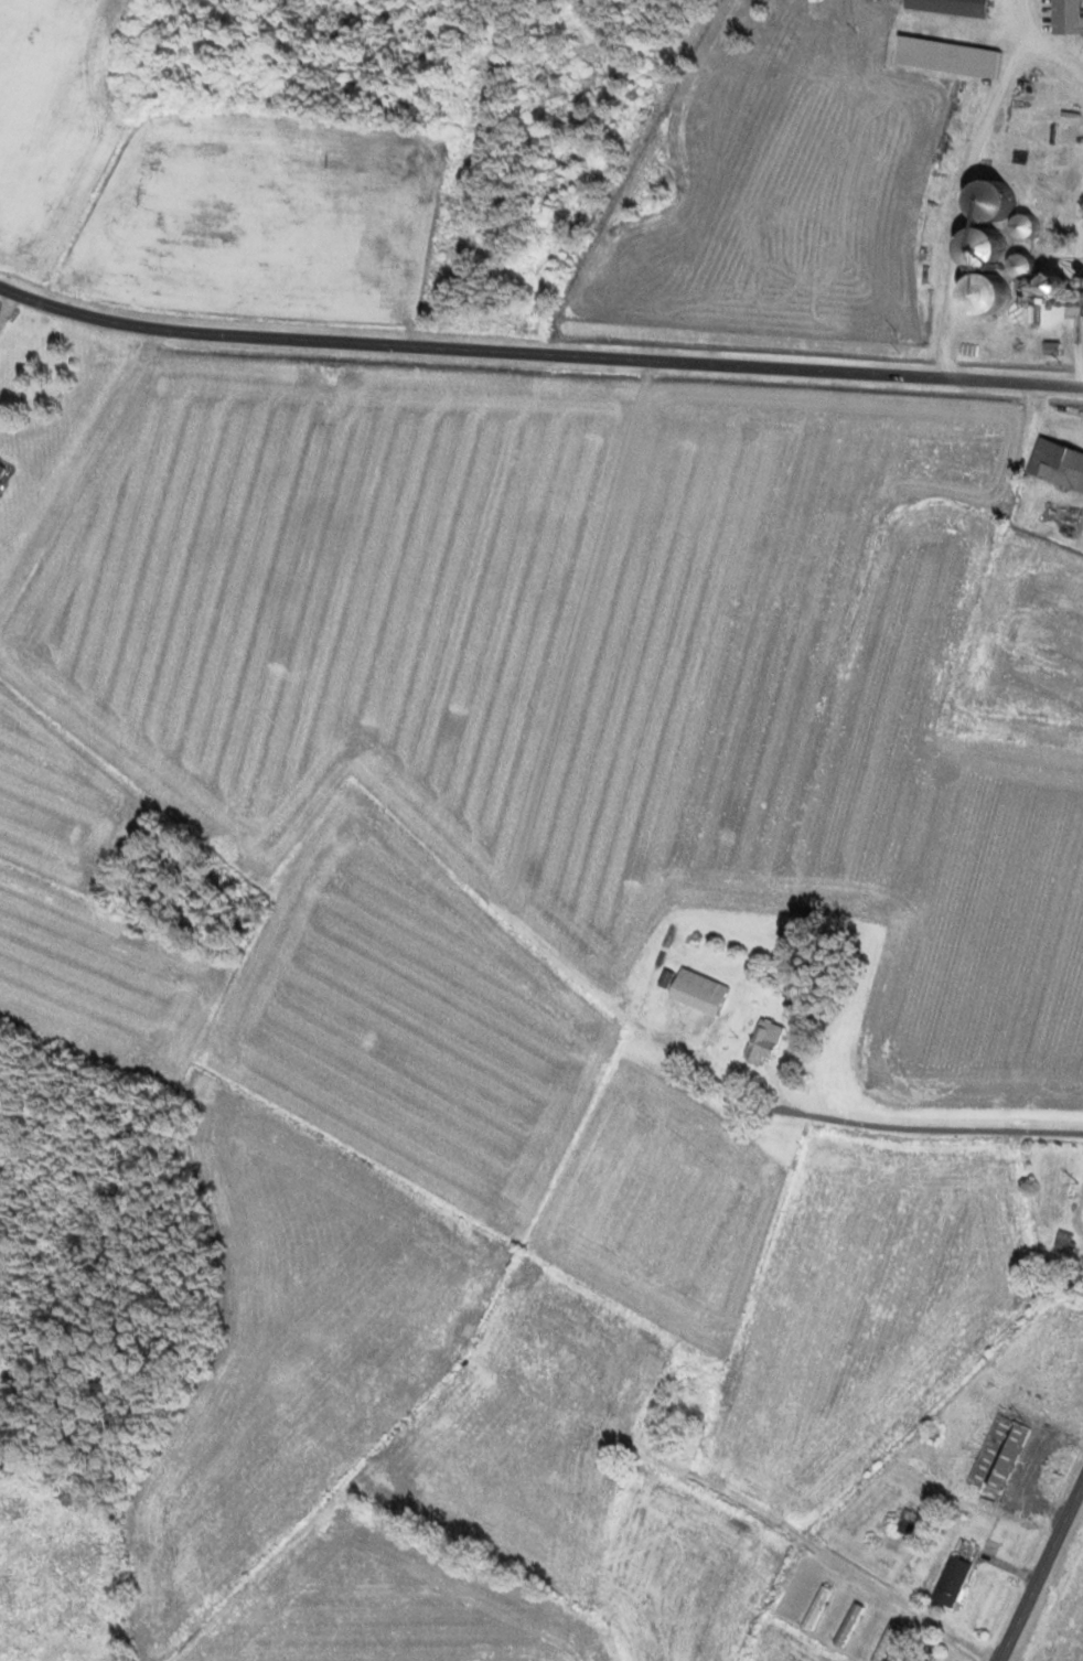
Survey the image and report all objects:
building: (945, 8)
building: (1062, 18)
building: (943, 58)
building: (1018, 225)
building: (1015, 265)
building: (1082, 283)
building: (1049, 285)
road: (538, 350)
road: (83, 403)
building: (1055, 464)
building: (695, 992)
building: (760, 1041)
building: (1061, 1243)
building: (685, 1406)
building: (995, 1456)
road: (1034, 1470)
building: (904, 1523)
road: (828, 1554)
road: (1042, 1572)
building: (953, 1573)
building: (813, 1608)
building: (845, 1625)
building: (882, 1642)

